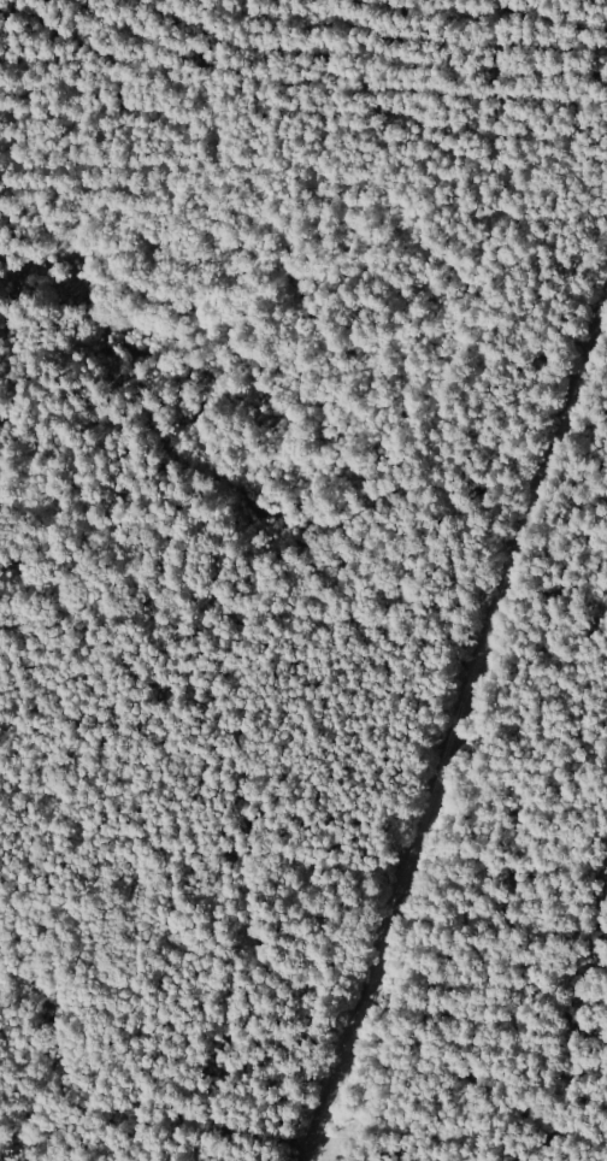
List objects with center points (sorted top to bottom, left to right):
road: (454, 739)

